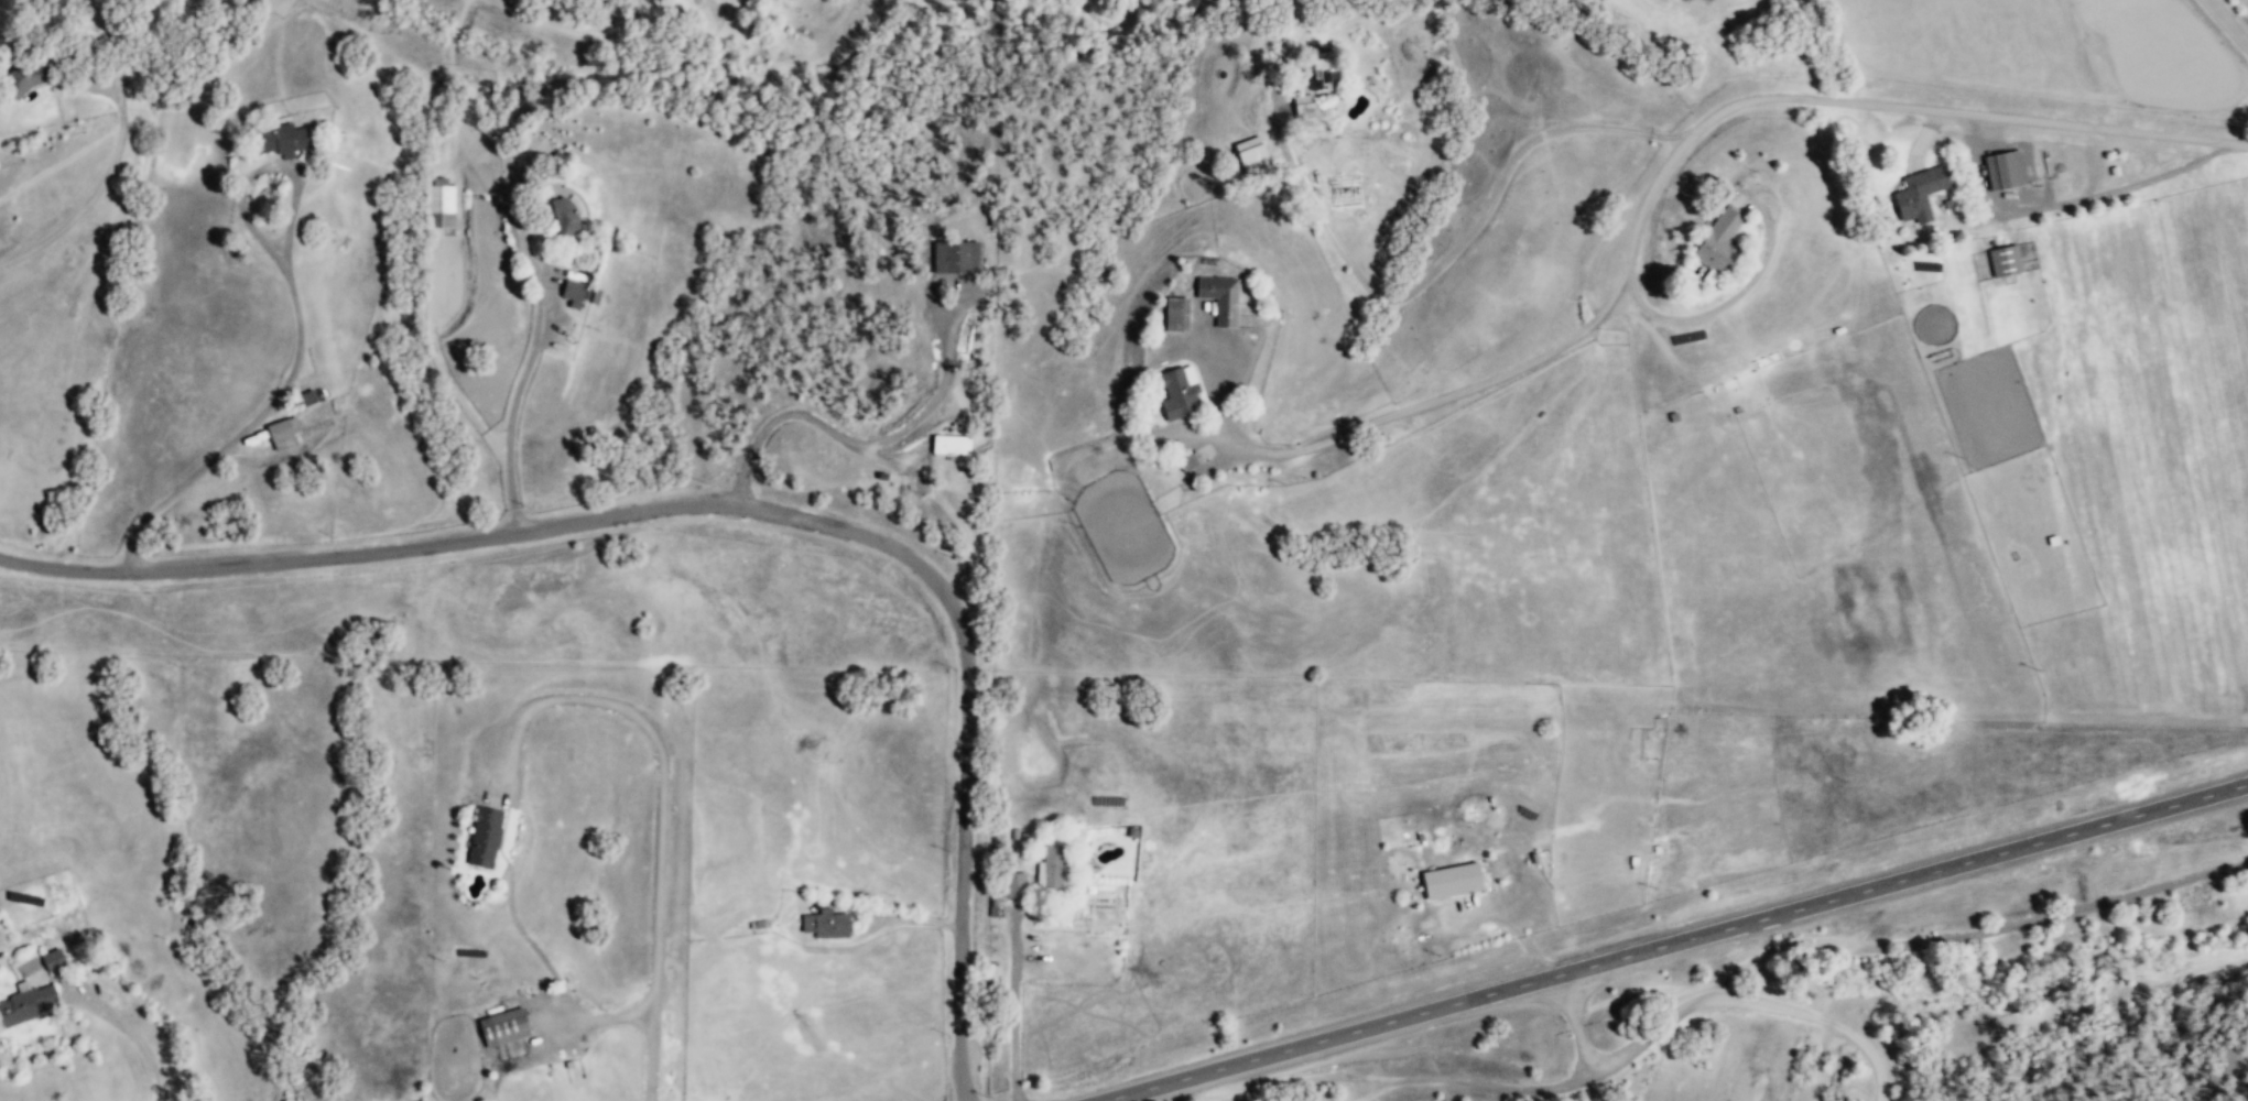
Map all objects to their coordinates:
road: (2231, 19)
building: (1285, 51)
building: (1322, 73)
building: (26, 77)
road: (1883, 103)
building: (281, 139)
building: (1251, 153)
building: (2003, 170)
building: (1921, 192)
road: (91, 196)
building: (441, 203)
building: (565, 215)
road: (1462, 233)
building: (1720, 239)
building: (956, 257)
building: (2005, 260)
building: (575, 293)
building: (1220, 297)
building: (1175, 313)
road: (298, 327)
crop: (2215, 349)
building: (1179, 391)
road: (514, 392)
building: (307, 397)
road: (460, 399)
building: (283, 433)
crop: (2114, 495)
road: (739, 510)
building: (485, 837)
building: (1052, 869)
building: (1452, 881)
building: (1014, 884)
building: (826, 924)
road: (1679, 945)
building: (53, 961)
road: (1718, 1000)
building: (24, 1005)
building: (503, 1026)
road: (130, 1032)

